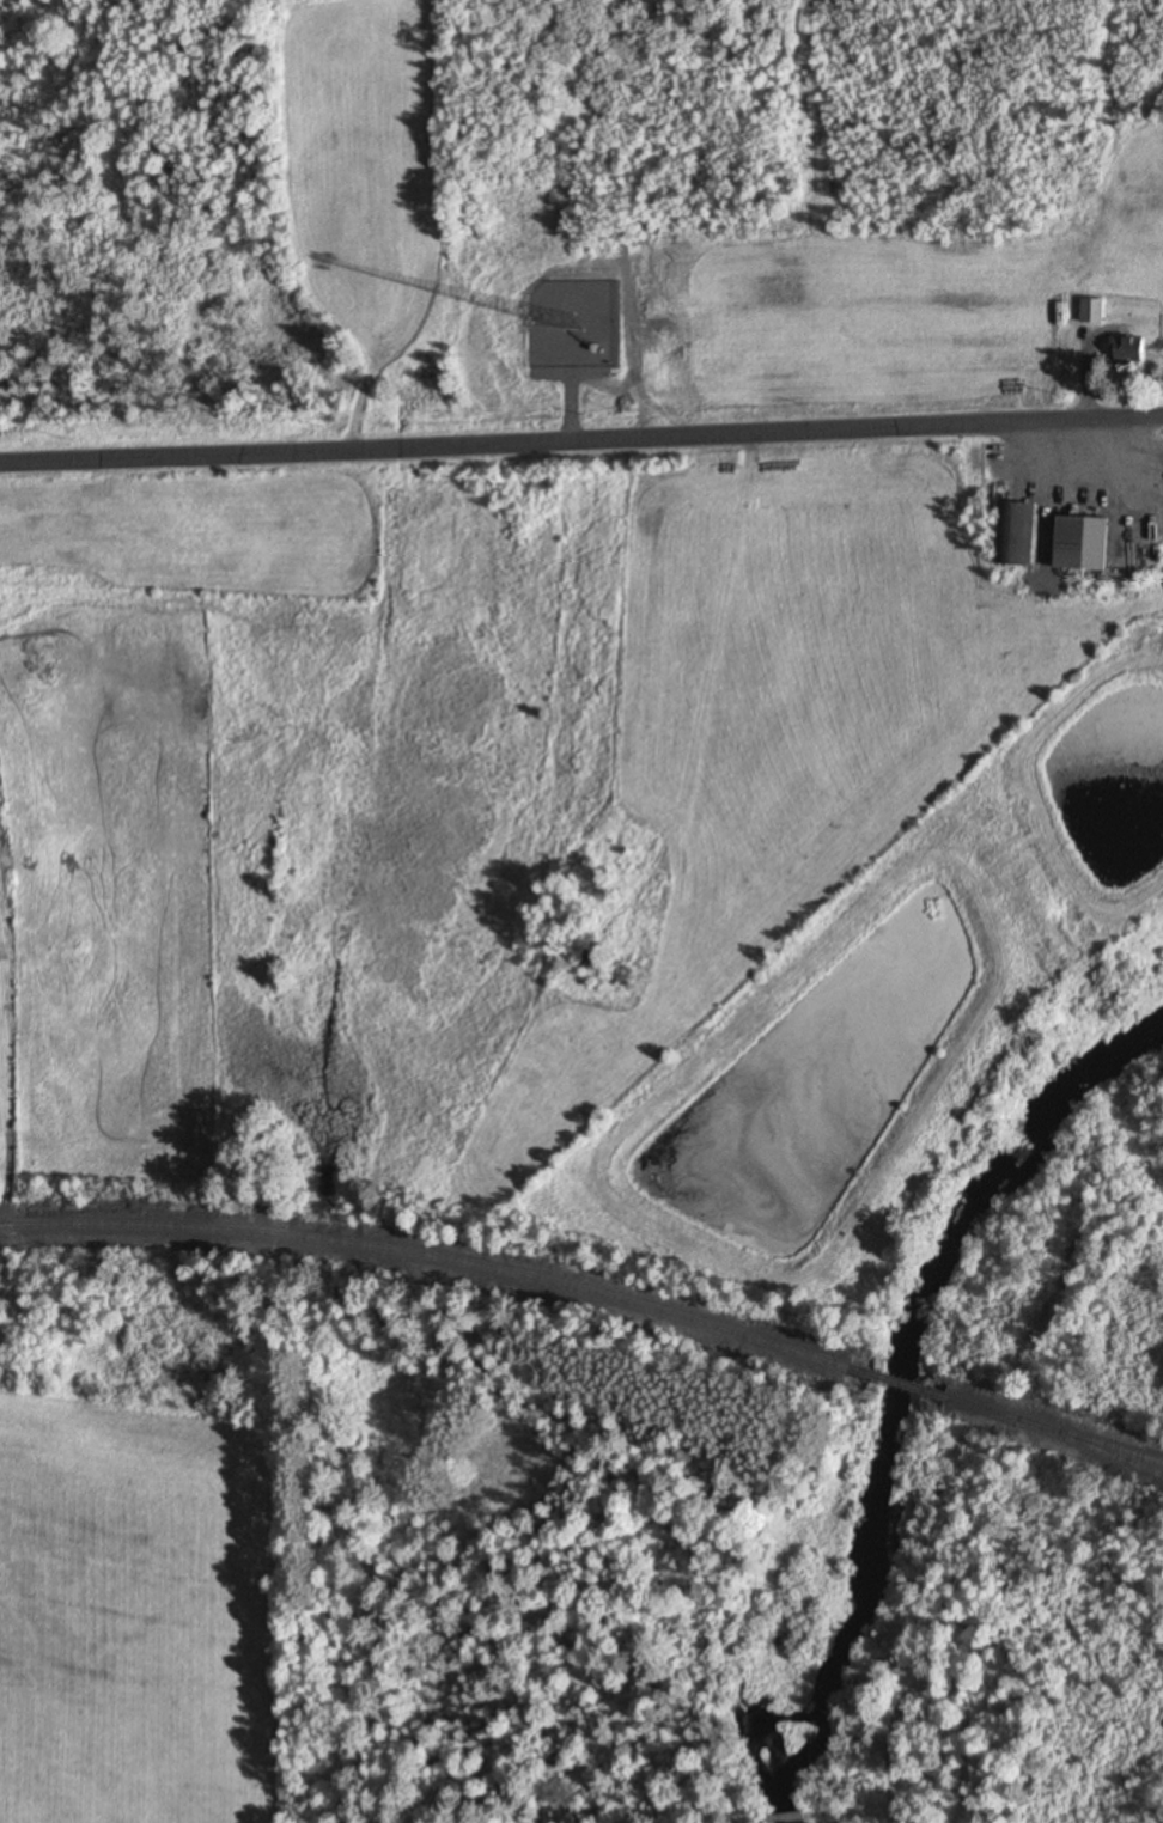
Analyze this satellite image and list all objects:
crop: (617, 287)
building: (1097, 313)
building: (1133, 353)
road: (580, 438)
building: (1027, 535)
building: (1082, 543)
building: (592, 962)
river: (1084, 1074)
road: (8, 1147)
river: (1019, 1163)
railway: (437, 1257)
railway: (907, 1385)
railway: (1058, 1431)
railway: (1090, 1446)
river: (872, 1494)
crop: (135, 1610)

